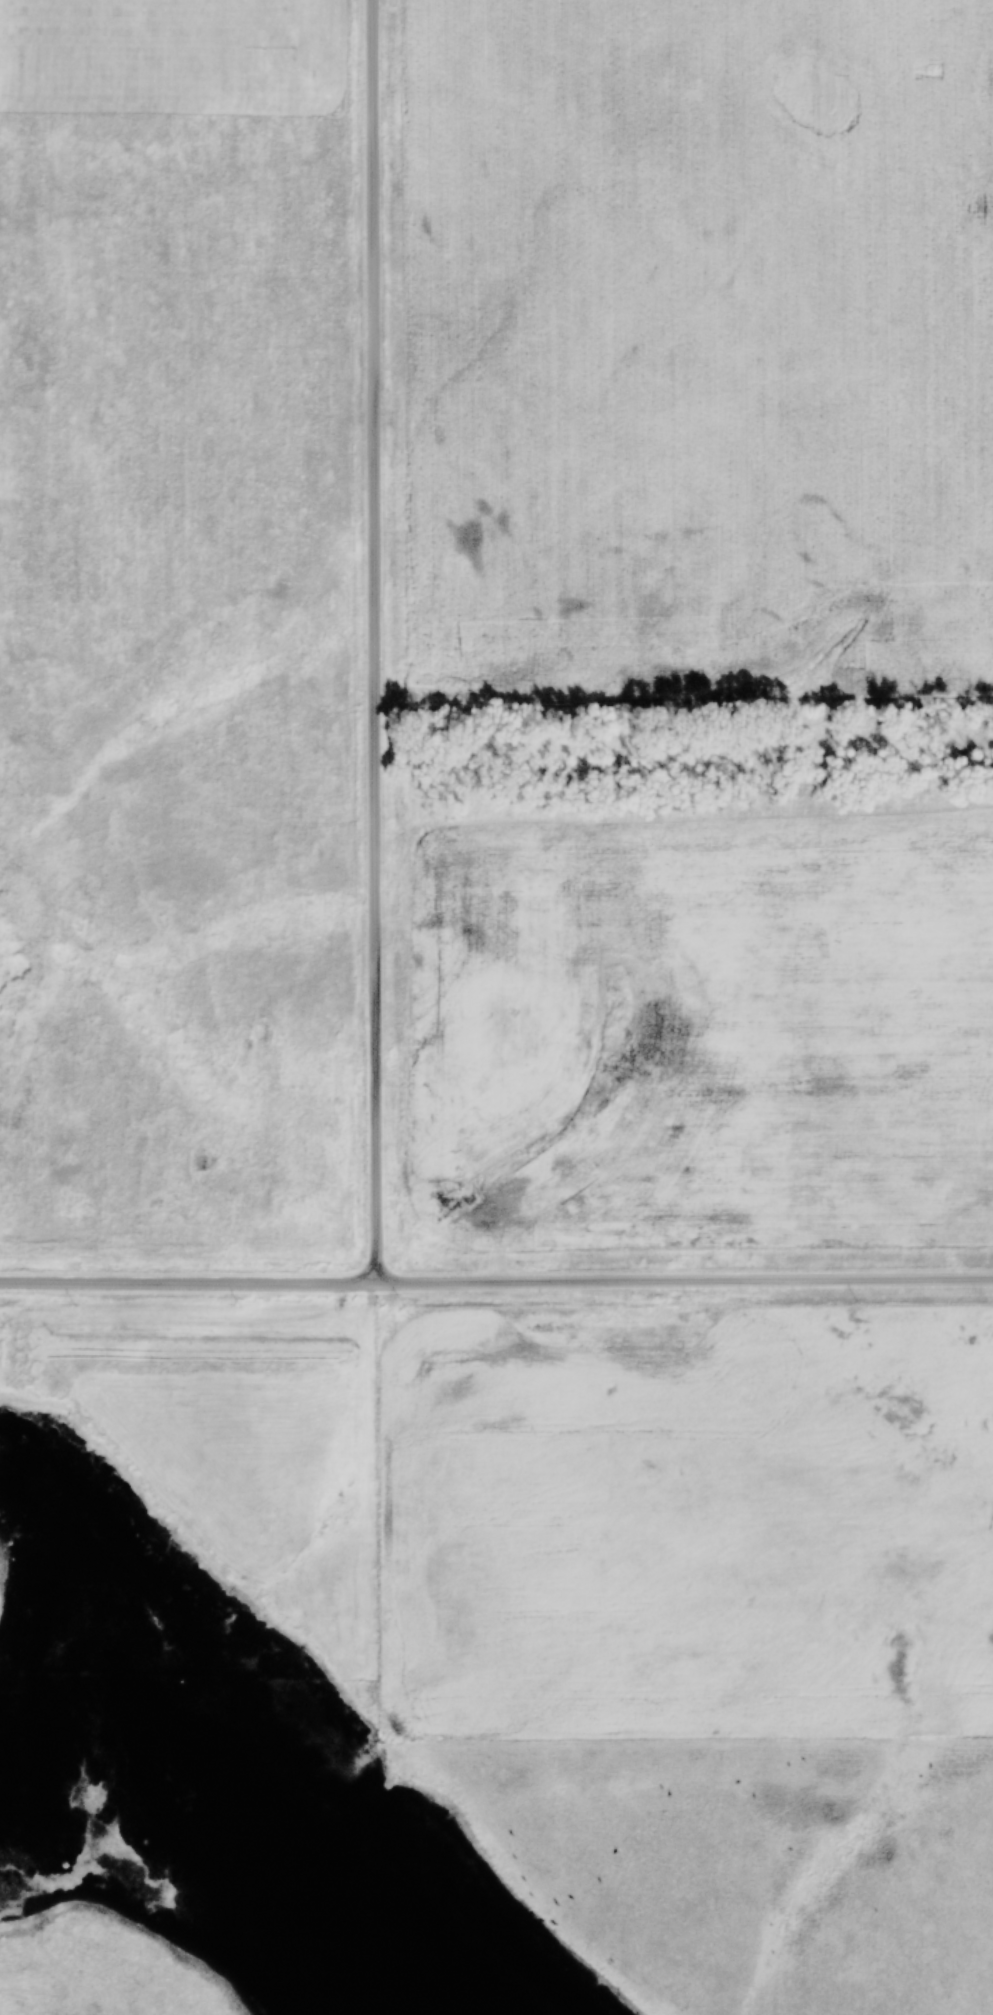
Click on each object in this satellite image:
road: (373, 641)
road: (496, 1282)

